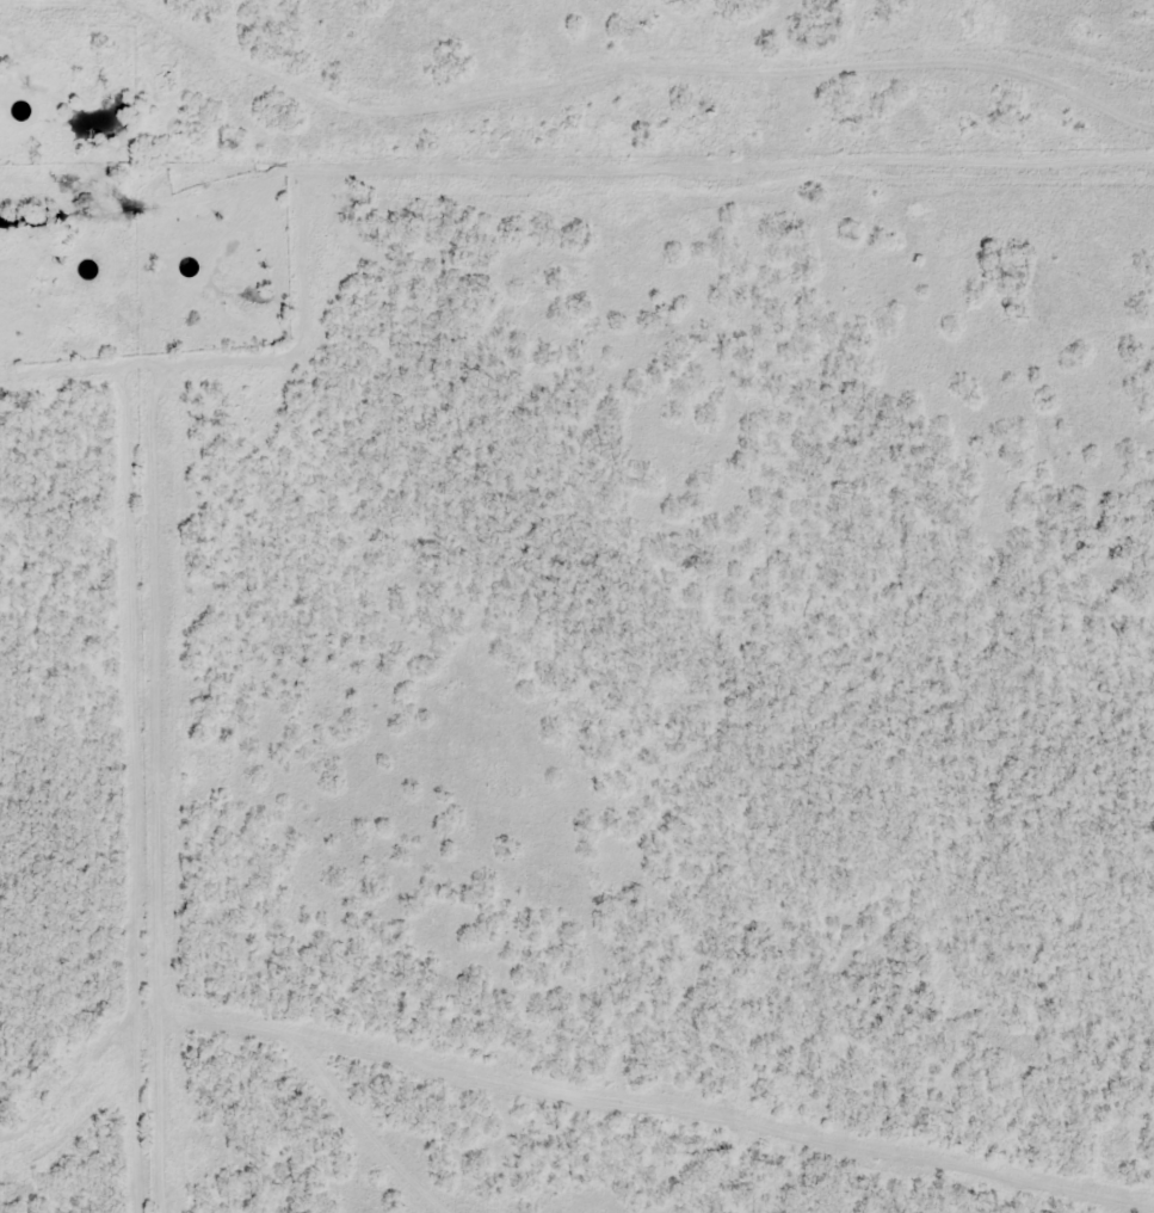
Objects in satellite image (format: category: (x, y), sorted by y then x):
road: (16, 227)

